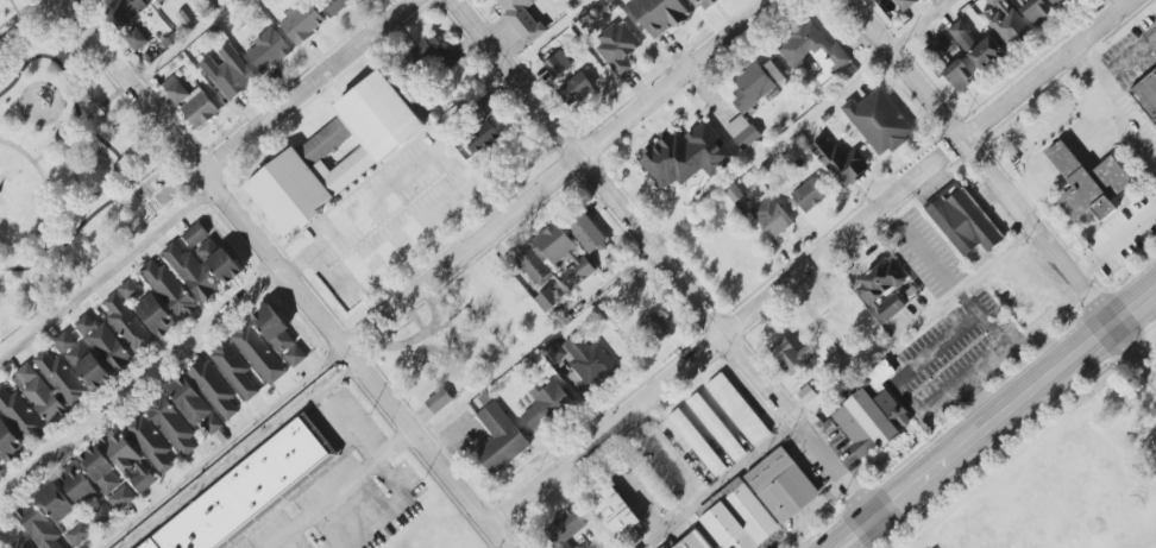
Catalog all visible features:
building: (157, 0)
building: (925, 0)
building: (1056, 2)
building: (702, 4)
building: (906, 4)
building: (335, 5)
building: (125, 11)
building: (1037, 12)
building: (659, 14)
building: (522, 18)
road: (25, 21)
building: (302, 21)
building: (1009, 23)
road: (922, 24)
building: (136, 39)
building: (976, 45)
building: (618, 46)
building: (269, 51)
building: (813, 51)
building: (433, 53)
road: (1129, 56)
building: (557, 65)
road: (1092, 67)
road: (907, 68)
road: (1045, 68)
building: (847, 70)
building: (228, 73)
building: (960, 75)
building: (756, 84)
road: (310, 87)
road: (843, 88)
building: (579, 89)
building: (1145, 95)
road: (20, 97)
building: (191, 102)
building: (486, 107)
road: (1070, 111)
road: (92, 112)
building: (879, 121)
building: (742, 132)
road: (73, 137)
building: (482, 138)
road: (73, 151)
building: (337, 153)
road: (115, 155)
road: (40, 156)
building: (686, 156)
building: (841, 162)
park: (69, 175)
road: (458, 175)
road: (558, 175)
road: (127, 177)
building: (1087, 183)
road: (90, 194)
building: (810, 195)
road: (483, 204)
building: (771, 216)
road: (46, 219)
building: (963, 222)
road: (1038, 226)
building: (586, 232)
road: (1117, 241)
building: (213, 254)
building: (565, 254)
road: (667, 254)
road: (926, 256)
road: (62, 262)
building: (534, 265)
road: (107, 272)
building: (191, 272)
road: (288, 273)
road: (608, 279)
road: (969, 279)
building: (169, 289)
building: (882, 289)
building: (130, 290)
building: (906, 291)
building: (548, 300)
road: (1135, 302)
building: (156, 315)
building: (128, 325)
building: (660, 326)
road: (957, 328)
building: (281, 336)
road: (716, 340)
building: (103, 341)
road: (1135, 346)
building: (259, 353)
building: (791, 355)
building: (582, 358)
building: (82, 360)
building: (235, 370)
road: (138, 376)
building: (62, 378)
building: (214, 389)
building: (40, 395)
building: (439, 401)
building: (194, 404)
building: (546, 404)
building: (737, 409)
building: (21, 416)
building: (871, 421)
building: (172, 426)
road: (347, 426)
building: (716, 427)
road: (974, 434)
building: (500, 440)
building: (10, 442)
building: (151, 442)
building: (697, 442)
road: (222, 447)
road: (241, 454)
building: (128, 460)
building: (1, 467)
building: (101, 470)
road: (722, 481)
building: (783, 485)
road: (340, 487)
building: (249, 490)
building: (86, 496)
building: (121, 498)
building: (56, 502)
road: (390, 508)
building: (615, 511)
building: (740, 519)
building: (39, 525)
building: (566, 527)
building: (80, 534)
building: (693, 541)
building: (23, 543)
building: (662, 547)

